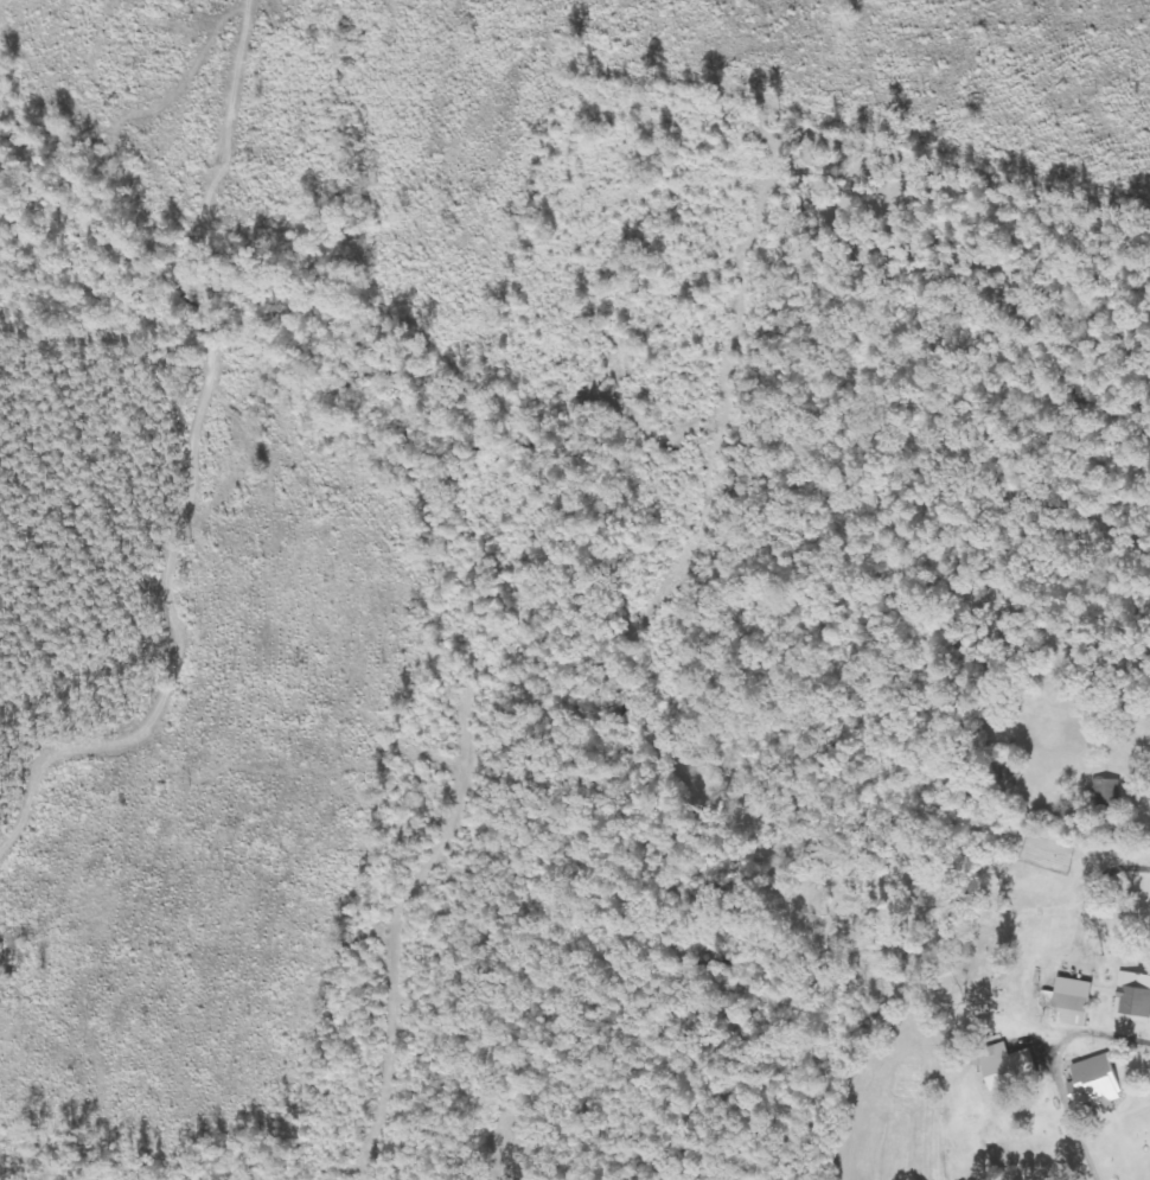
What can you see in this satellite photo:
road: (1107, 740)
building: (1135, 997)
building: (1076, 1002)
building: (1011, 1066)
building: (1100, 1082)
road: (780, 1093)

